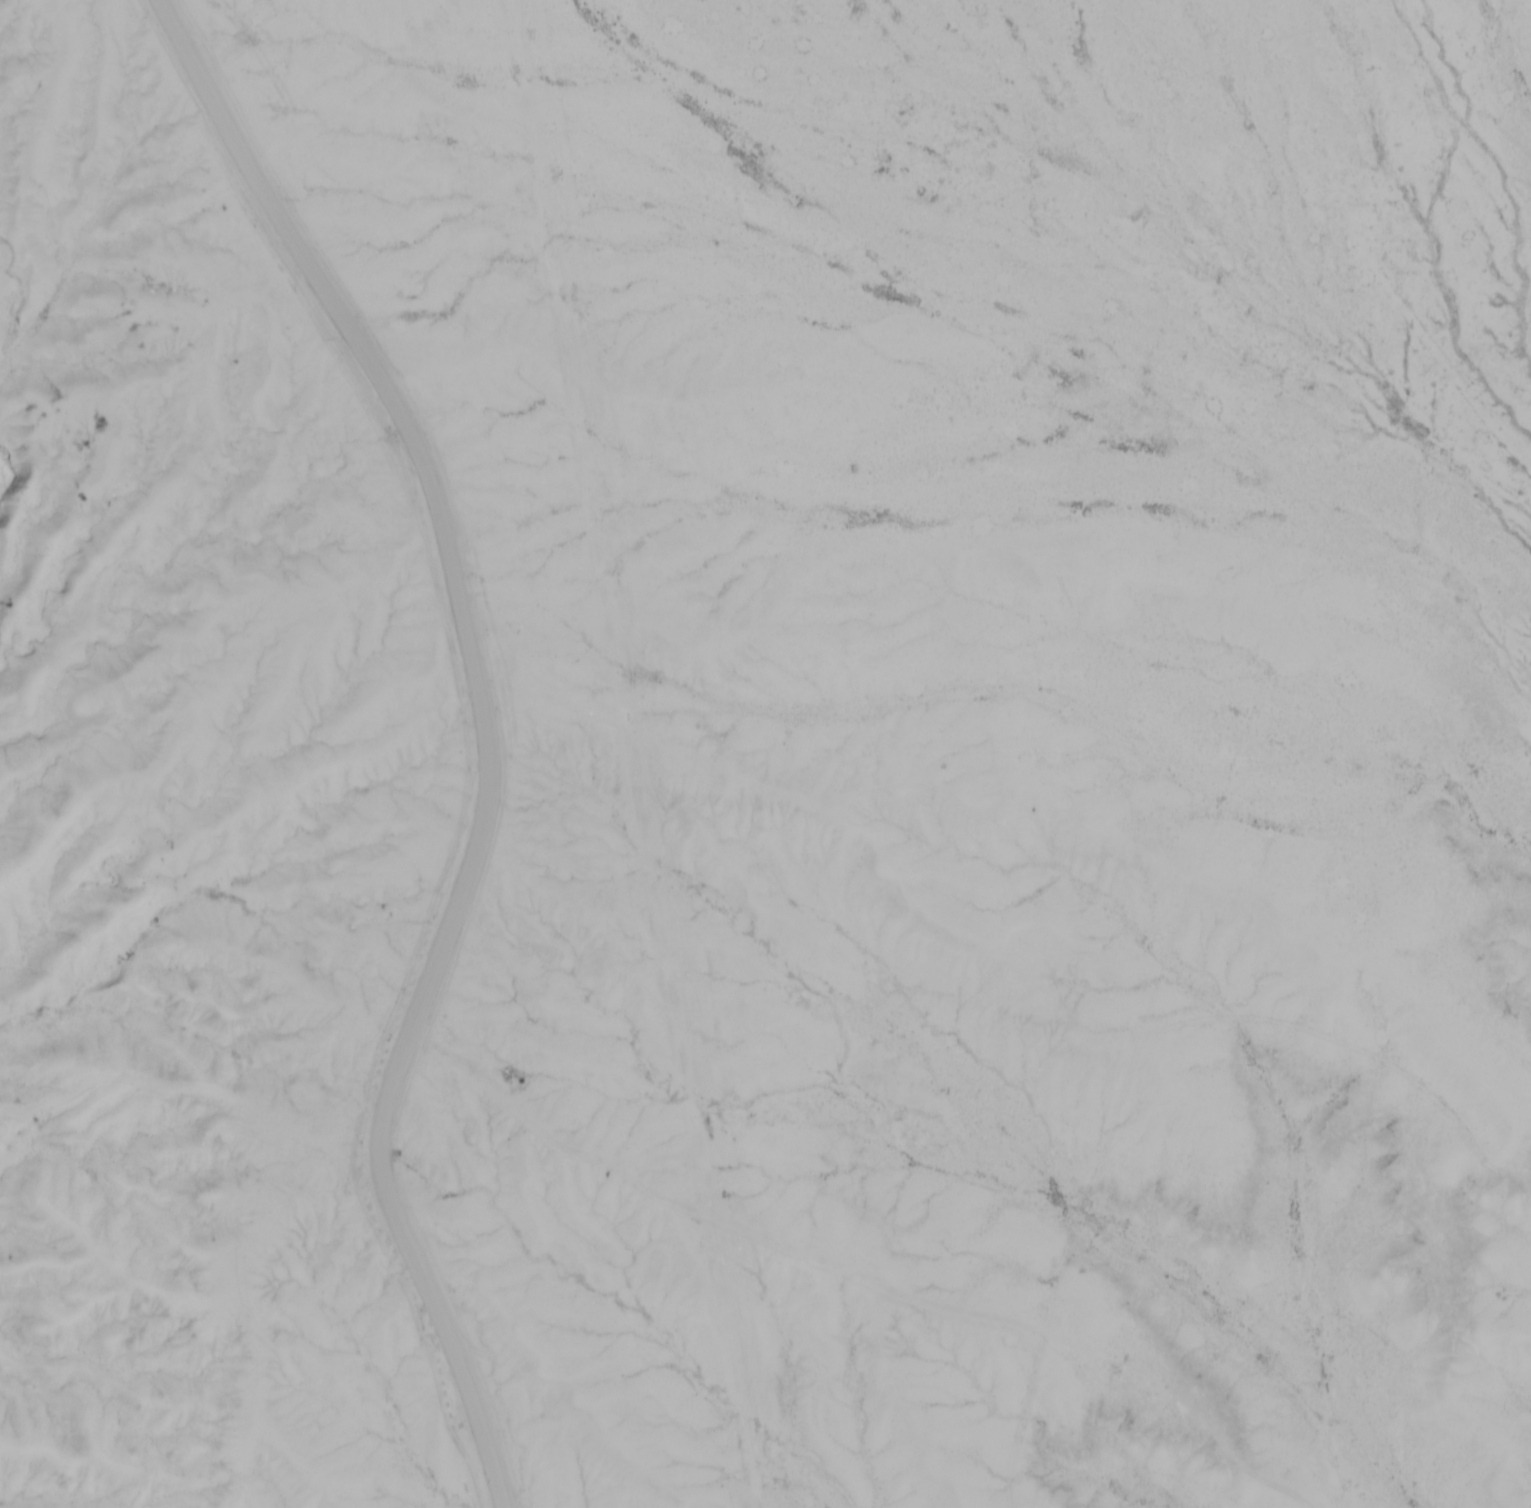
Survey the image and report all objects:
road: (492, 734)
road: (1107, 1443)

